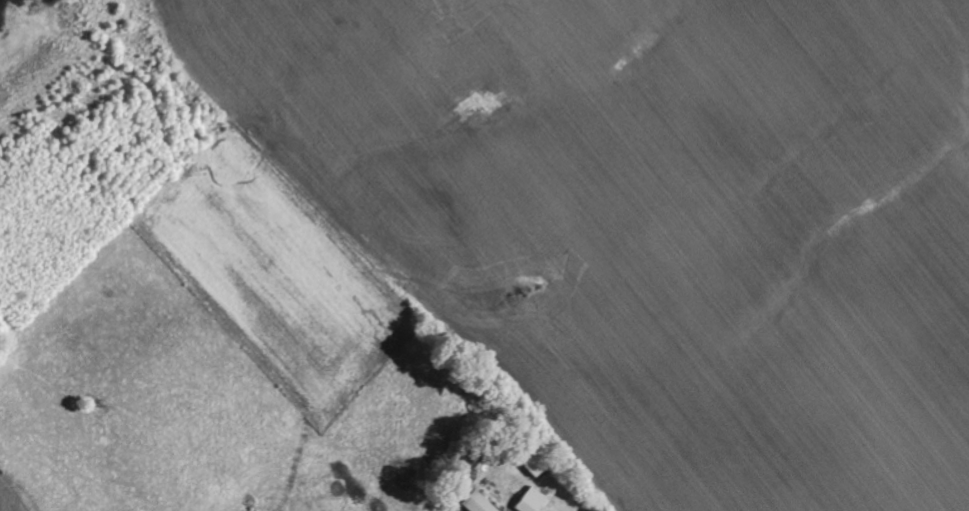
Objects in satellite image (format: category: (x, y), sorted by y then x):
building: (533, 500)
building: (481, 502)

